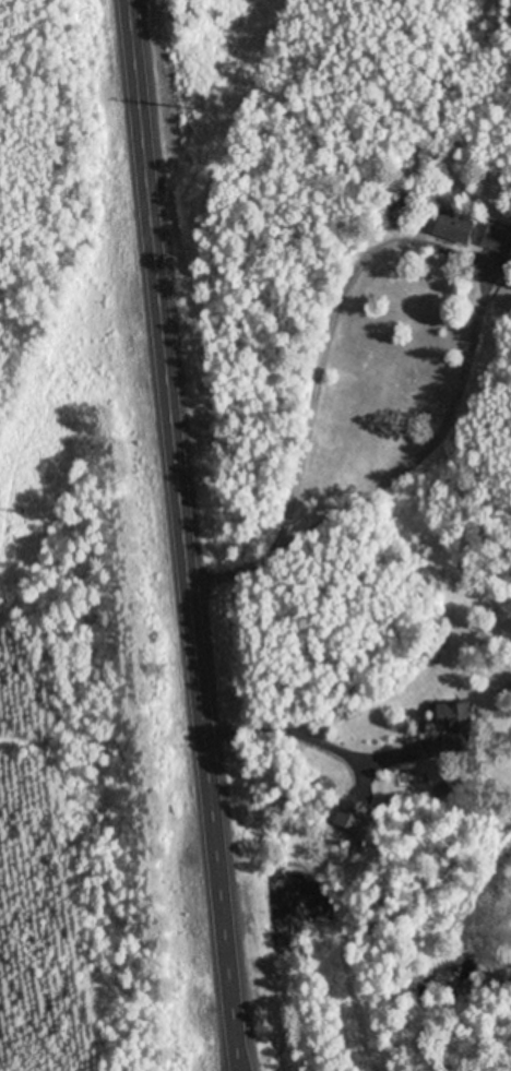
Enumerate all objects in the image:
power tower: (195, 108)
building: (456, 226)
building: (498, 235)
power tower: (14, 512)
road: (187, 535)
building: (352, 811)

